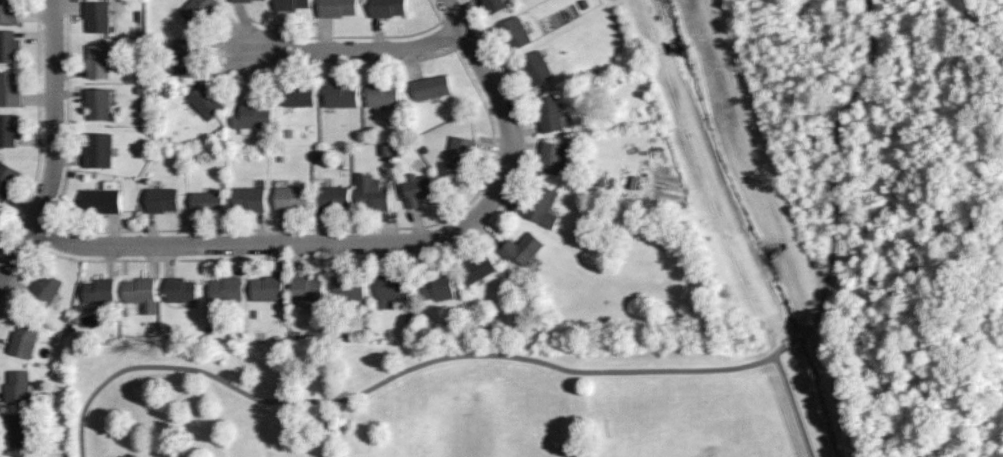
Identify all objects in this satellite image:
building: (240, 1)
building: (290, 4)
building: (495, 5)
building: (386, 7)
building: (336, 8)
building: (8, 10)
building: (198, 10)
building: (96, 16)
building: (514, 32)
building: (8, 45)
road: (356, 48)
building: (182, 55)
building: (96, 60)
building: (535, 67)
building: (431, 85)
building: (9, 89)
building: (382, 93)
building: (298, 94)
building: (341, 94)
building: (205, 100)
road: (500, 100)
building: (97, 102)
building: (552, 114)
building: (250, 118)
building: (8, 130)
road: (54, 145)
building: (98, 150)
building: (460, 150)
building: (552, 157)
building: (6, 179)
building: (416, 187)
building: (372, 192)
building: (290, 196)
building: (332, 196)
building: (249, 197)
building: (101, 198)
building: (161, 198)
building: (207, 200)
building: (541, 205)
road: (260, 243)
building: (522, 248)
building: (477, 268)
building: (305, 286)
building: (348, 286)
building: (45, 287)
building: (266, 287)
building: (225, 288)
building: (99, 289)
building: (180, 289)
building: (390, 289)
building: (435, 289)
building: (139, 293)
building: (23, 338)
road: (578, 373)
building: (17, 385)
park: (435, 405)
road: (795, 406)
building: (17, 428)
park: (664, 448)

